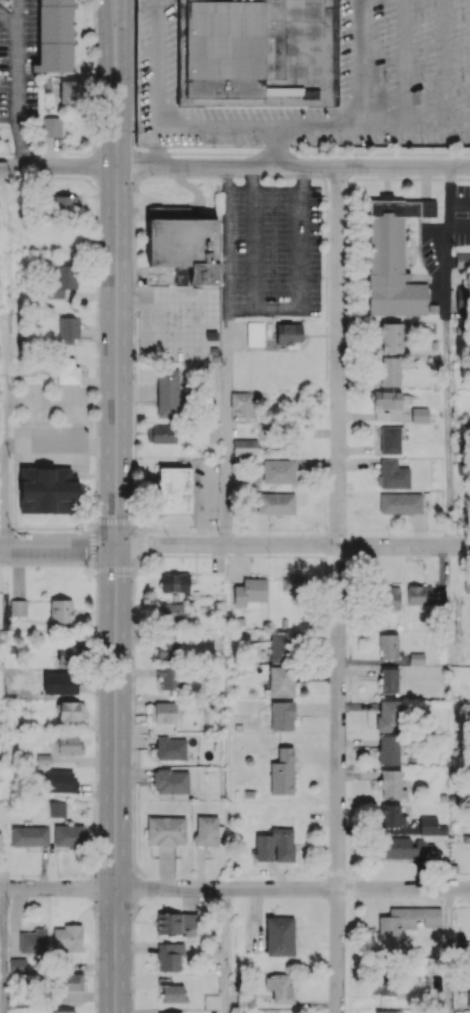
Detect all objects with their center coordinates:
road: (10, 19)
road: (106, 33)
road: (122, 33)
building: (55, 36)
road: (361, 62)
road: (404, 62)
road: (443, 62)
building: (304, 71)
parking lot: (304, 71)
road: (18, 83)
building: (70, 91)
road: (252, 125)
building: (51, 126)
road: (279, 145)
road: (57, 166)
road: (292, 166)
building: (64, 205)
building: (185, 246)
road: (250, 248)
building: (394, 256)
building: (462, 260)
road: (300, 261)
building: (182, 275)
building: (60, 280)
building: (68, 328)
building: (255, 333)
building: (288, 333)
building: (391, 337)
road: (227, 354)
road: (448, 355)
road: (3, 356)
building: (66, 370)
building: (390, 371)
building: (168, 393)
building: (387, 400)
building: (242, 403)
building: (419, 414)
building: (161, 433)
building: (391, 440)
building: (245, 446)
building: (279, 471)
building: (393, 474)
building: (47, 490)
building: (174, 490)
building: (275, 503)
building: (400, 503)
road: (115, 539)
road: (292, 544)
traffic signals: (116, 546)
road: (58, 547)
building: (175, 582)
building: (291, 582)
road: (338, 590)
building: (250, 592)
building: (425, 595)
building: (391, 597)
building: (18, 601)
building: (61, 610)
building: (172, 612)
building: (169, 646)
building: (283, 646)
building: (388, 646)
building: (67, 655)
building: (417, 658)
building: (168, 678)
building: (388, 680)
building: (281, 681)
building: (60, 682)
building: (70, 710)
building: (162, 712)
building: (282, 715)
building: (388, 715)
building: (69, 744)
building: (171, 748)
building: (388, 749)
building: (43, 758)
building: (282, 772)
building: (60, 781)
building: (171, 781)
building: (391, 784)
building: (391, 815)
building: (429, 825)
building: (166, 830)
building: (206, 830)
building: (29, 835)
building: (68, 835)
building: (0, 841)
building: (275, 845)
building: (404, 847)
road: (235, 888)
building: (407, 919)
building: (175, 922)
building: (279, 936)
building: (68, 937)
building: (33, 941)
road: (2, 950)
road: (226, 950)
road: (448, 951)
building: (169, 956)
building: (70, 981)
building: (383, 985)
building: (280, 987)
building: (173, 993)
building: (468, 999)
building: (63, 1011)
building: (388, 1011)
building: (171, 1012)

